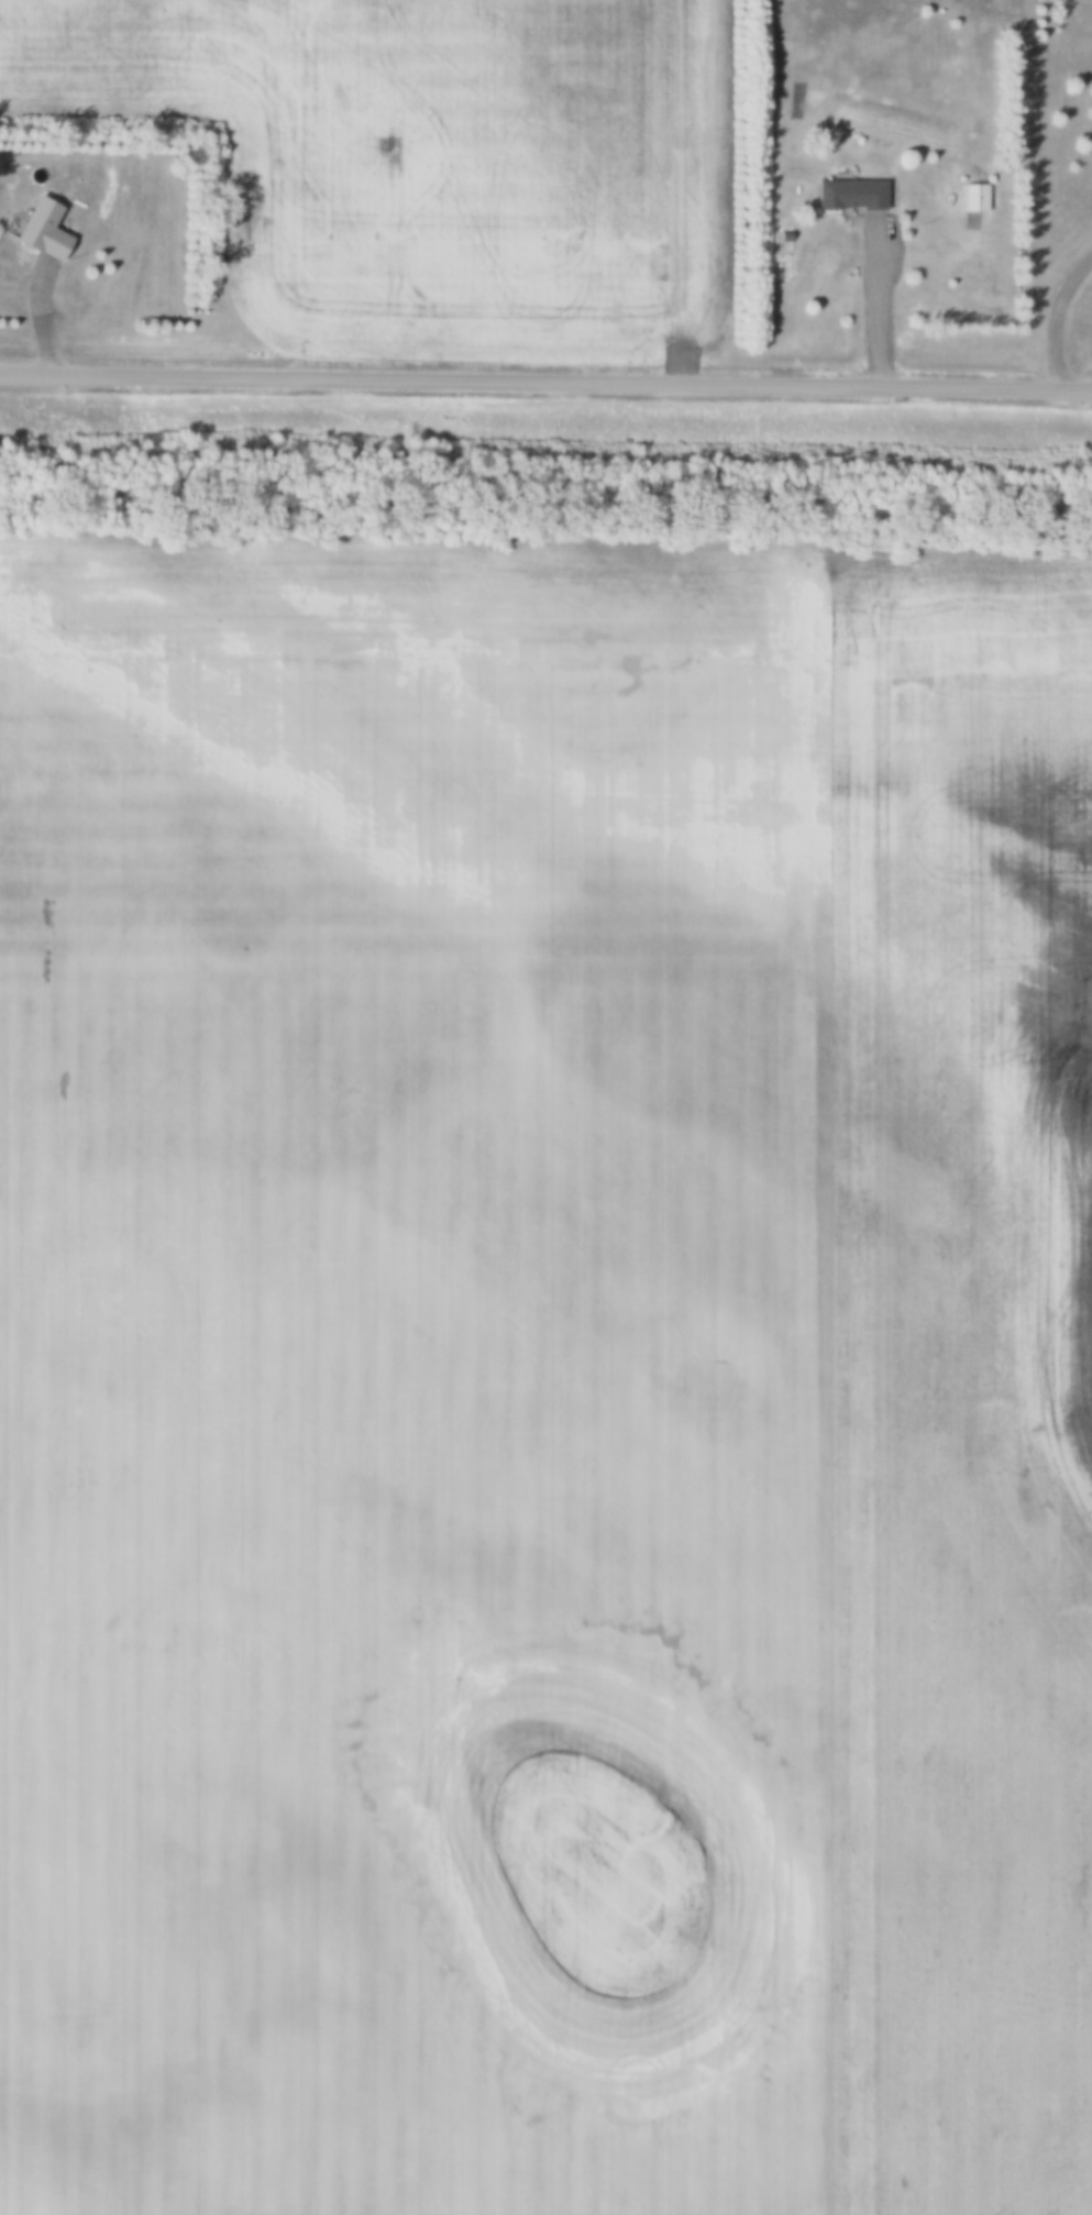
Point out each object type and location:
building: (854, 197)
building: (978, 201)
building: (46, 233)
road: (1058, 318)
road: (545, 376)

